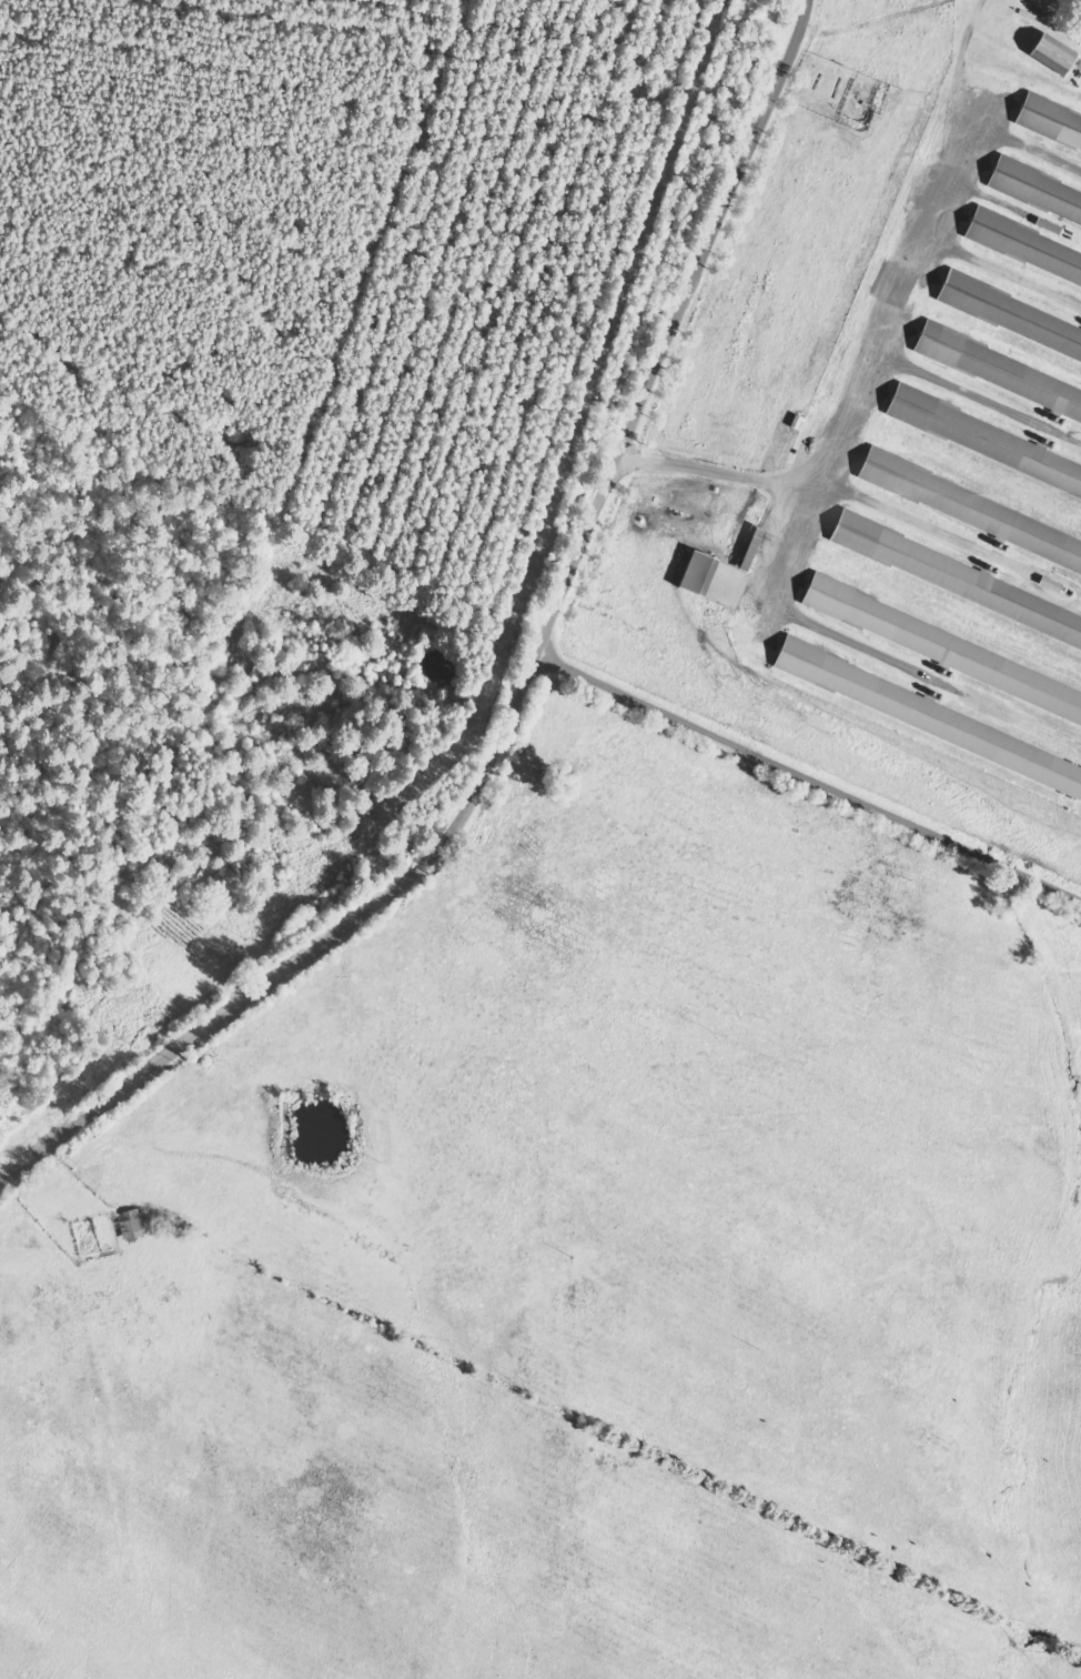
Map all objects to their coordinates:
building: (1055, 52)
building: (1050, 128)
building: (1037, 193)
building: (1052, 225)
building: (1011, 318)
building: (1000, 372)
building: (700, 572)
building: (958, 577)
building: (1053, 583)
road: (538, 711)
building: (930, 715)
road: (812, 815)
building: (134, 1223)

